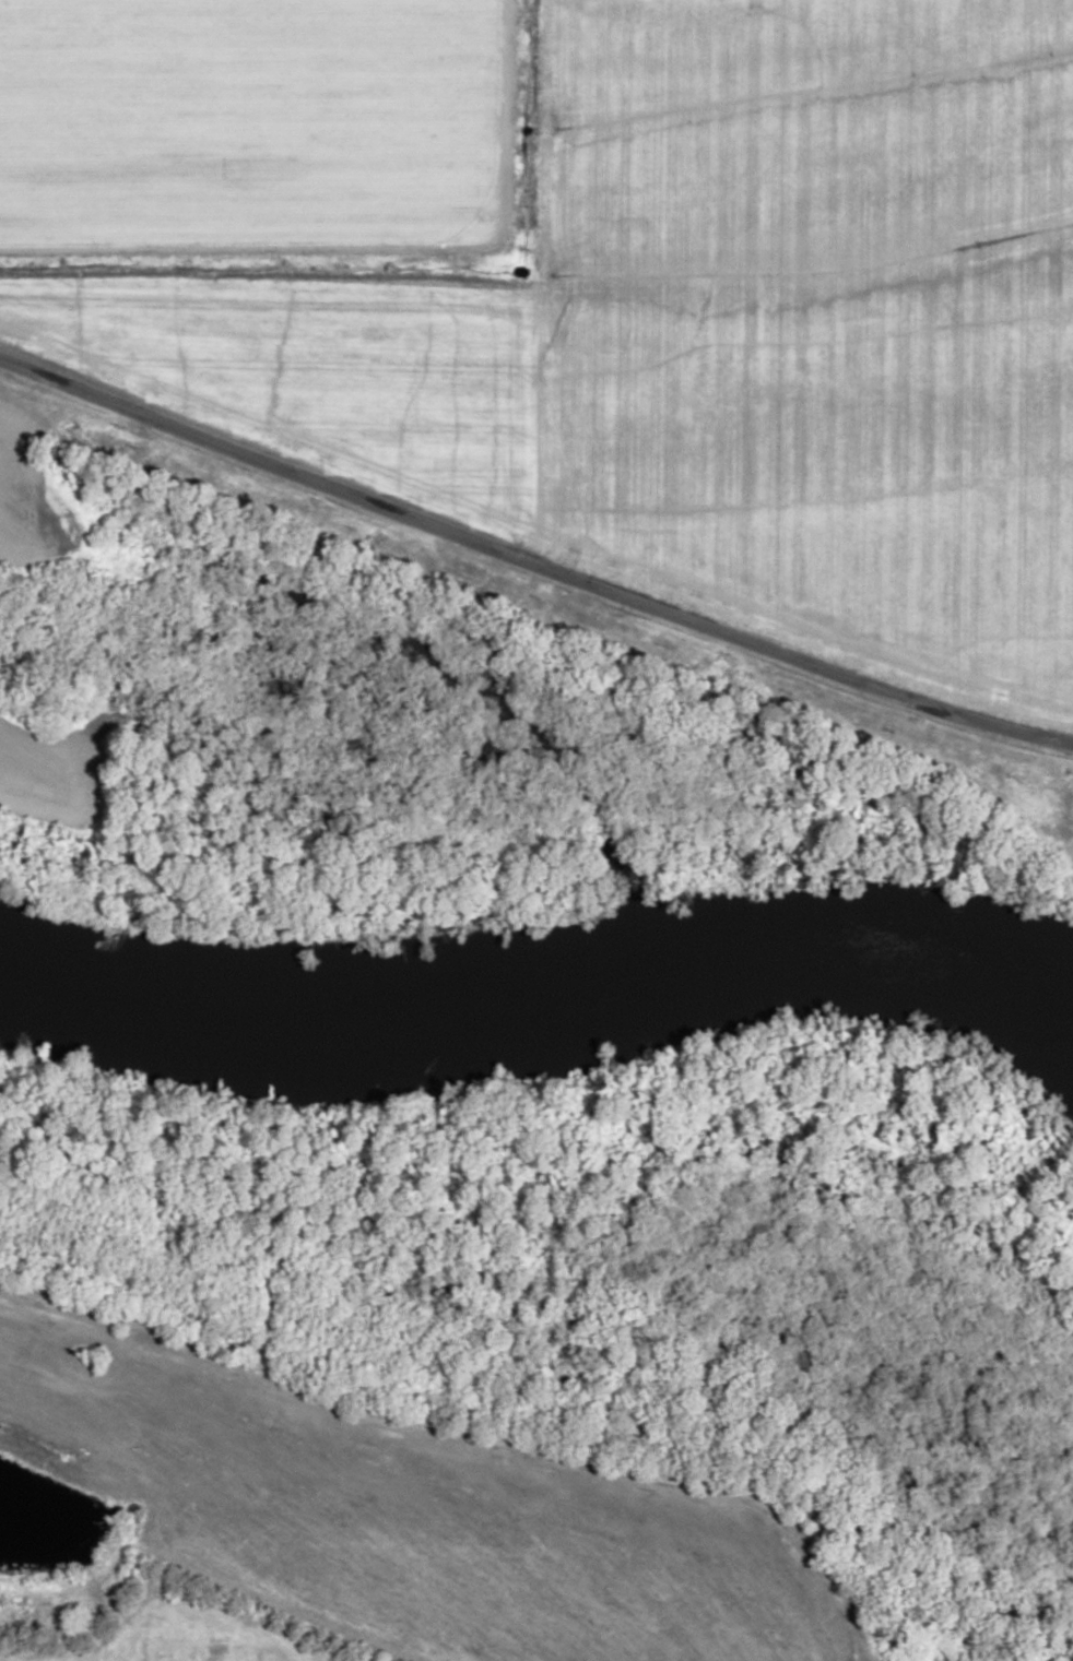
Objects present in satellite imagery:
road: (551, 241)
road: (532, 565)
river: (547, 954)
road: (115, 1331)
road: (582, 1469)
road: (74, 1476)
crop: (405, 1521)
road: (150, 1524)
park: (182, 1637)
park: (208, 1653)

